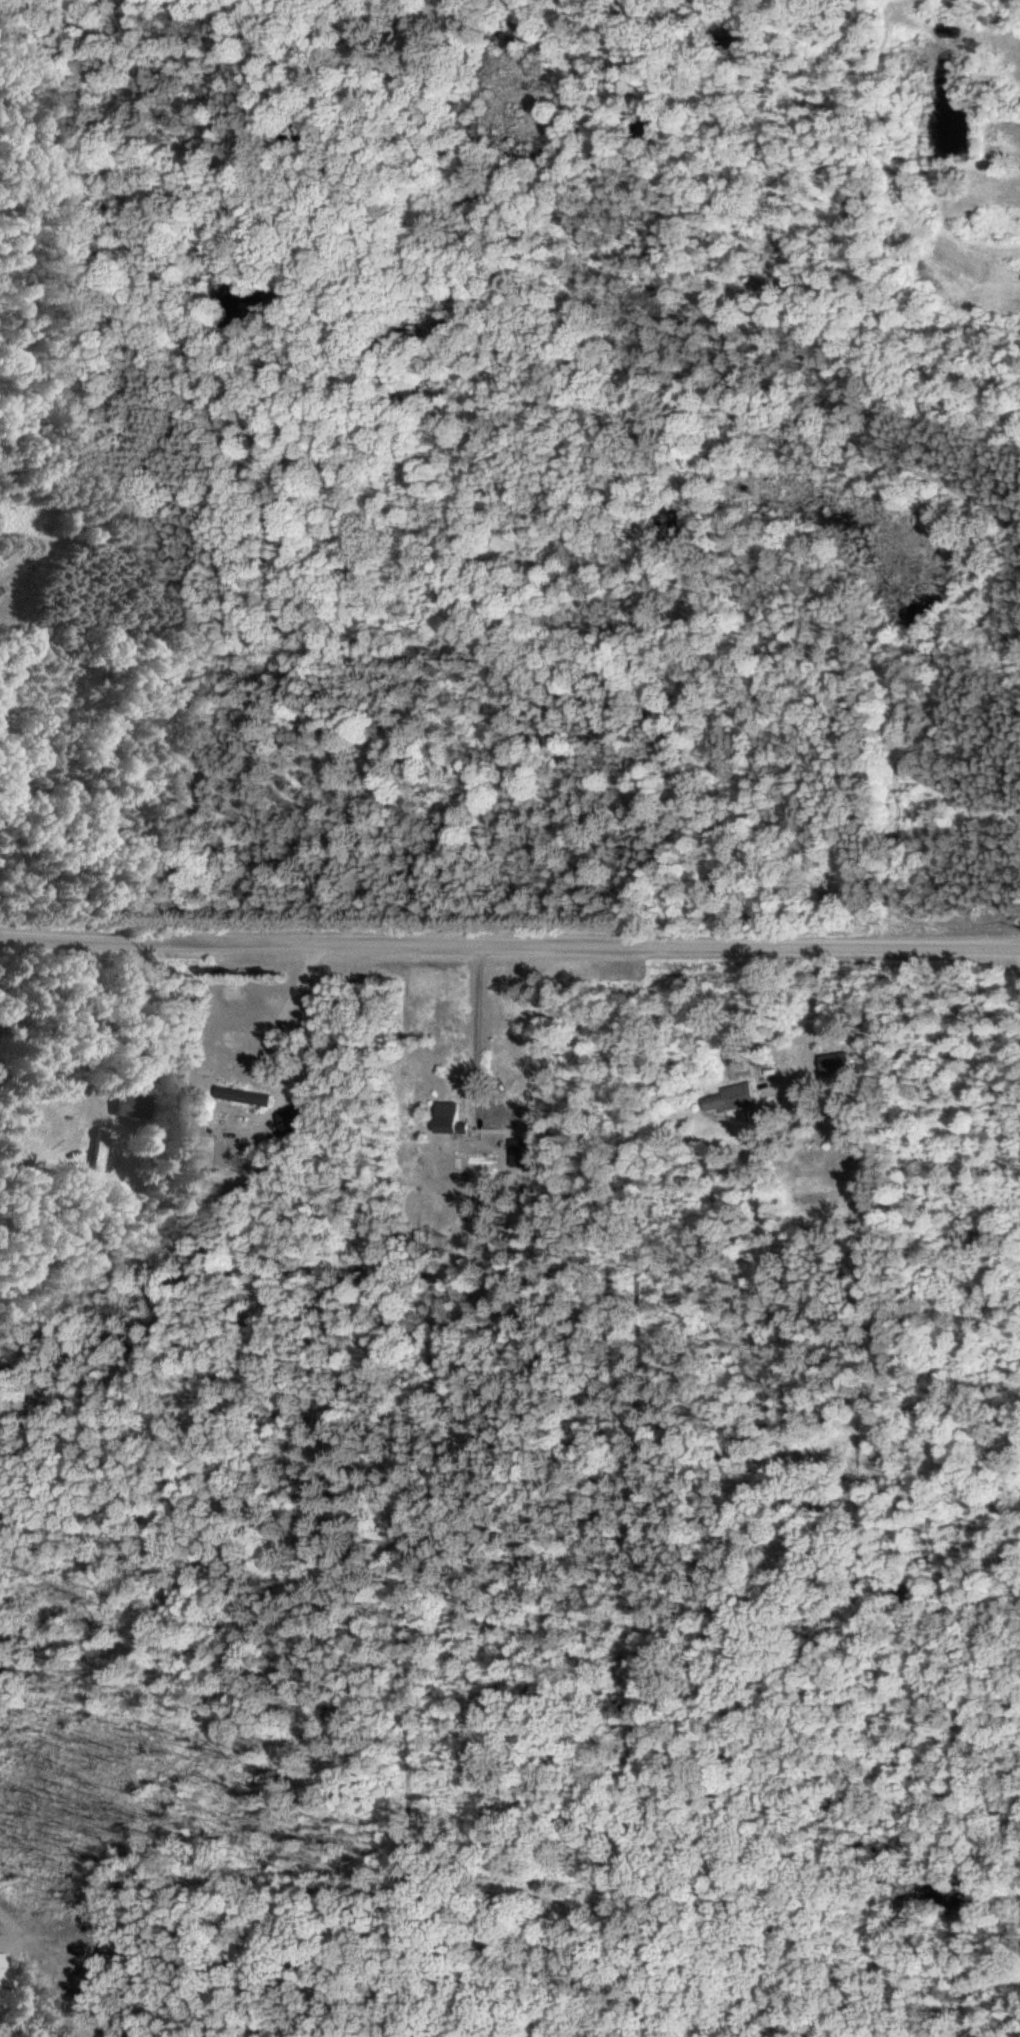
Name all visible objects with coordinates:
road: (160, 8)
park: (959, 171)
road: (185, 306)
road: (509, 943)
road: (283, 1016)
road: (472, 1020)
building: (300, 1025)
building: (832, 1062)
building: (243, 1094)
building: (730, 1096)
building: (130, 1104)
building: (292, 1117)
building: (447, 1118)
building: (521, 1152)

